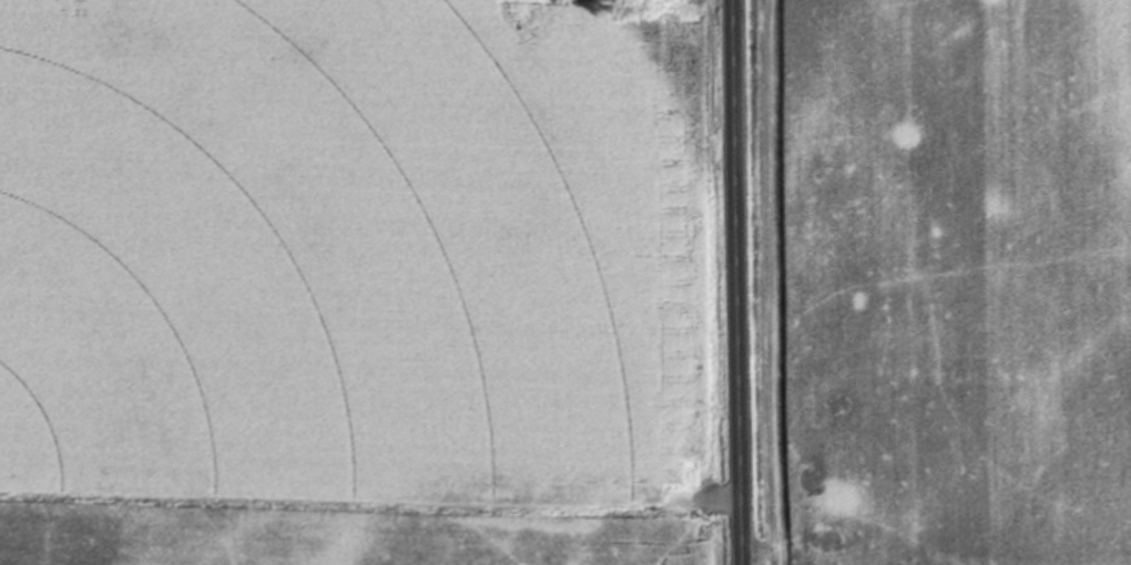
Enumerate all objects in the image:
road: (732, 282)

